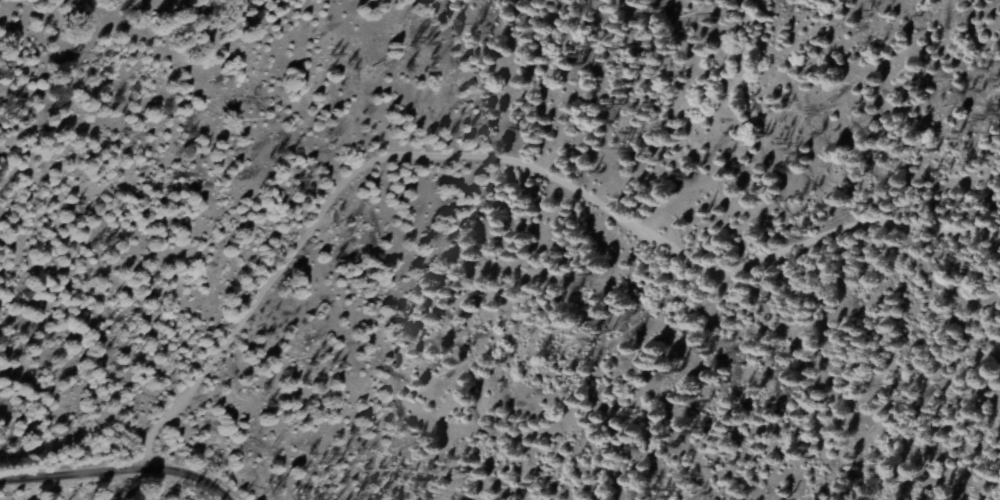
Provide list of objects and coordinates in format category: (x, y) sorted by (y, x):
road: (508, 162)
road: (117, 472)

